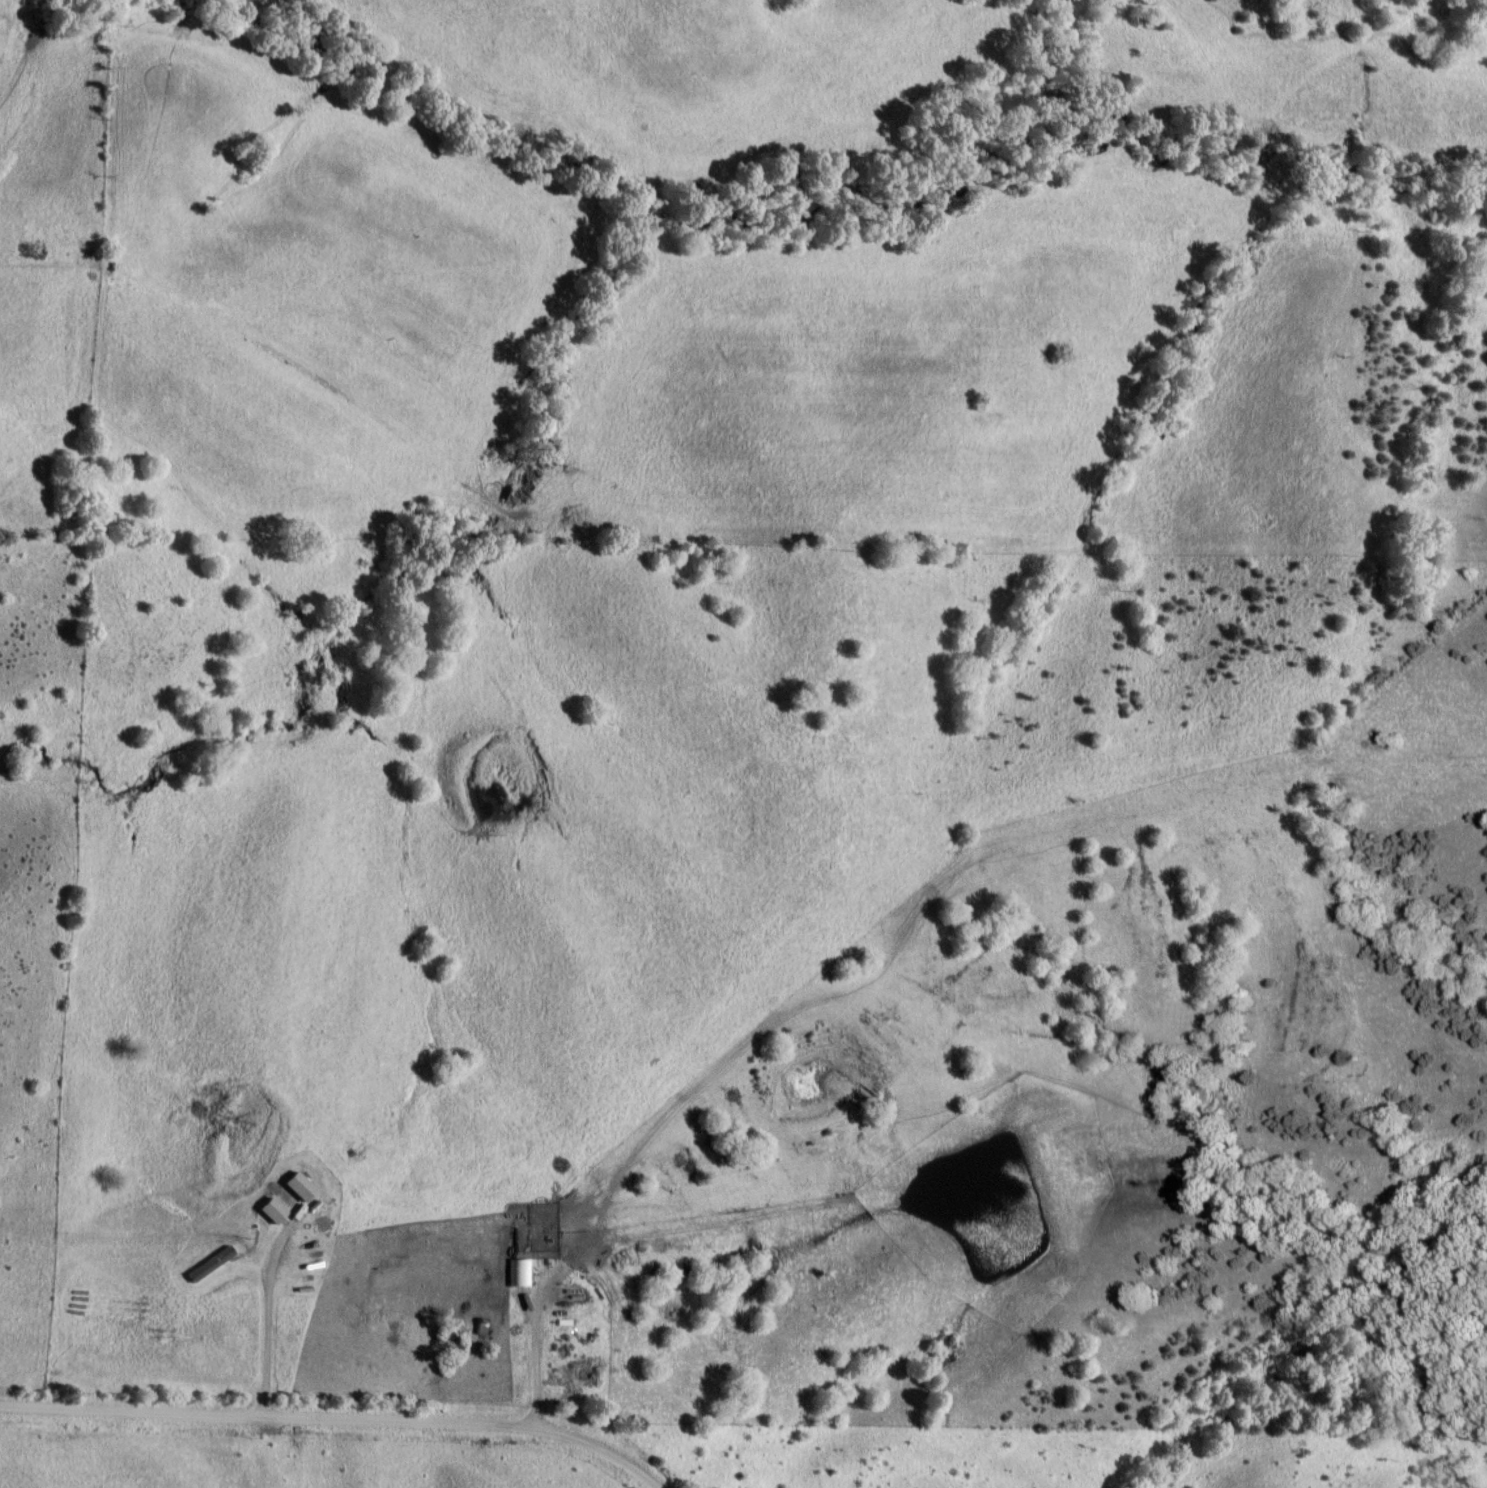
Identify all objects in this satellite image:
building: (517, 1272)
building: (460, 1294)
building: (567, 1372)
road: (337, 1422)

